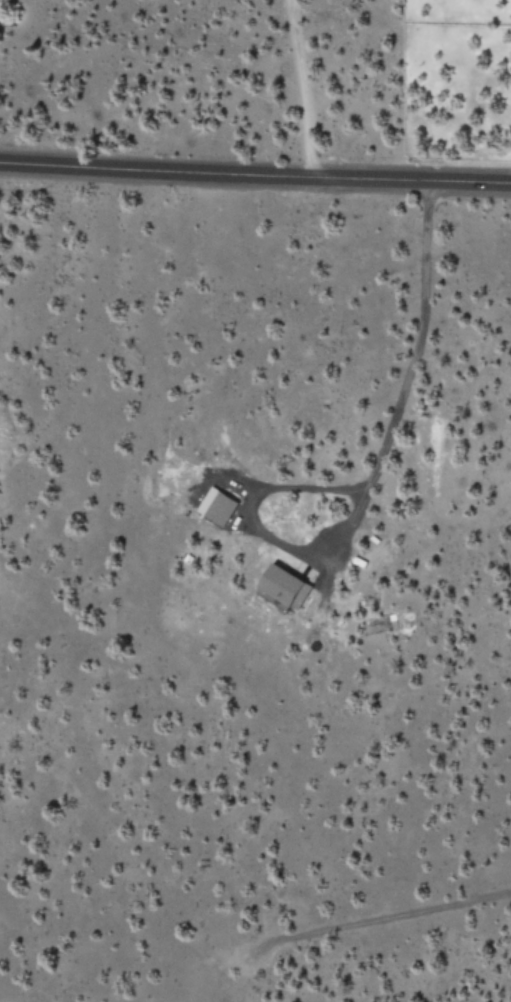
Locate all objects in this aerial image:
road: (299, 88)
road: (255, 175)
building: (217, 506)
building: (285, 587)

